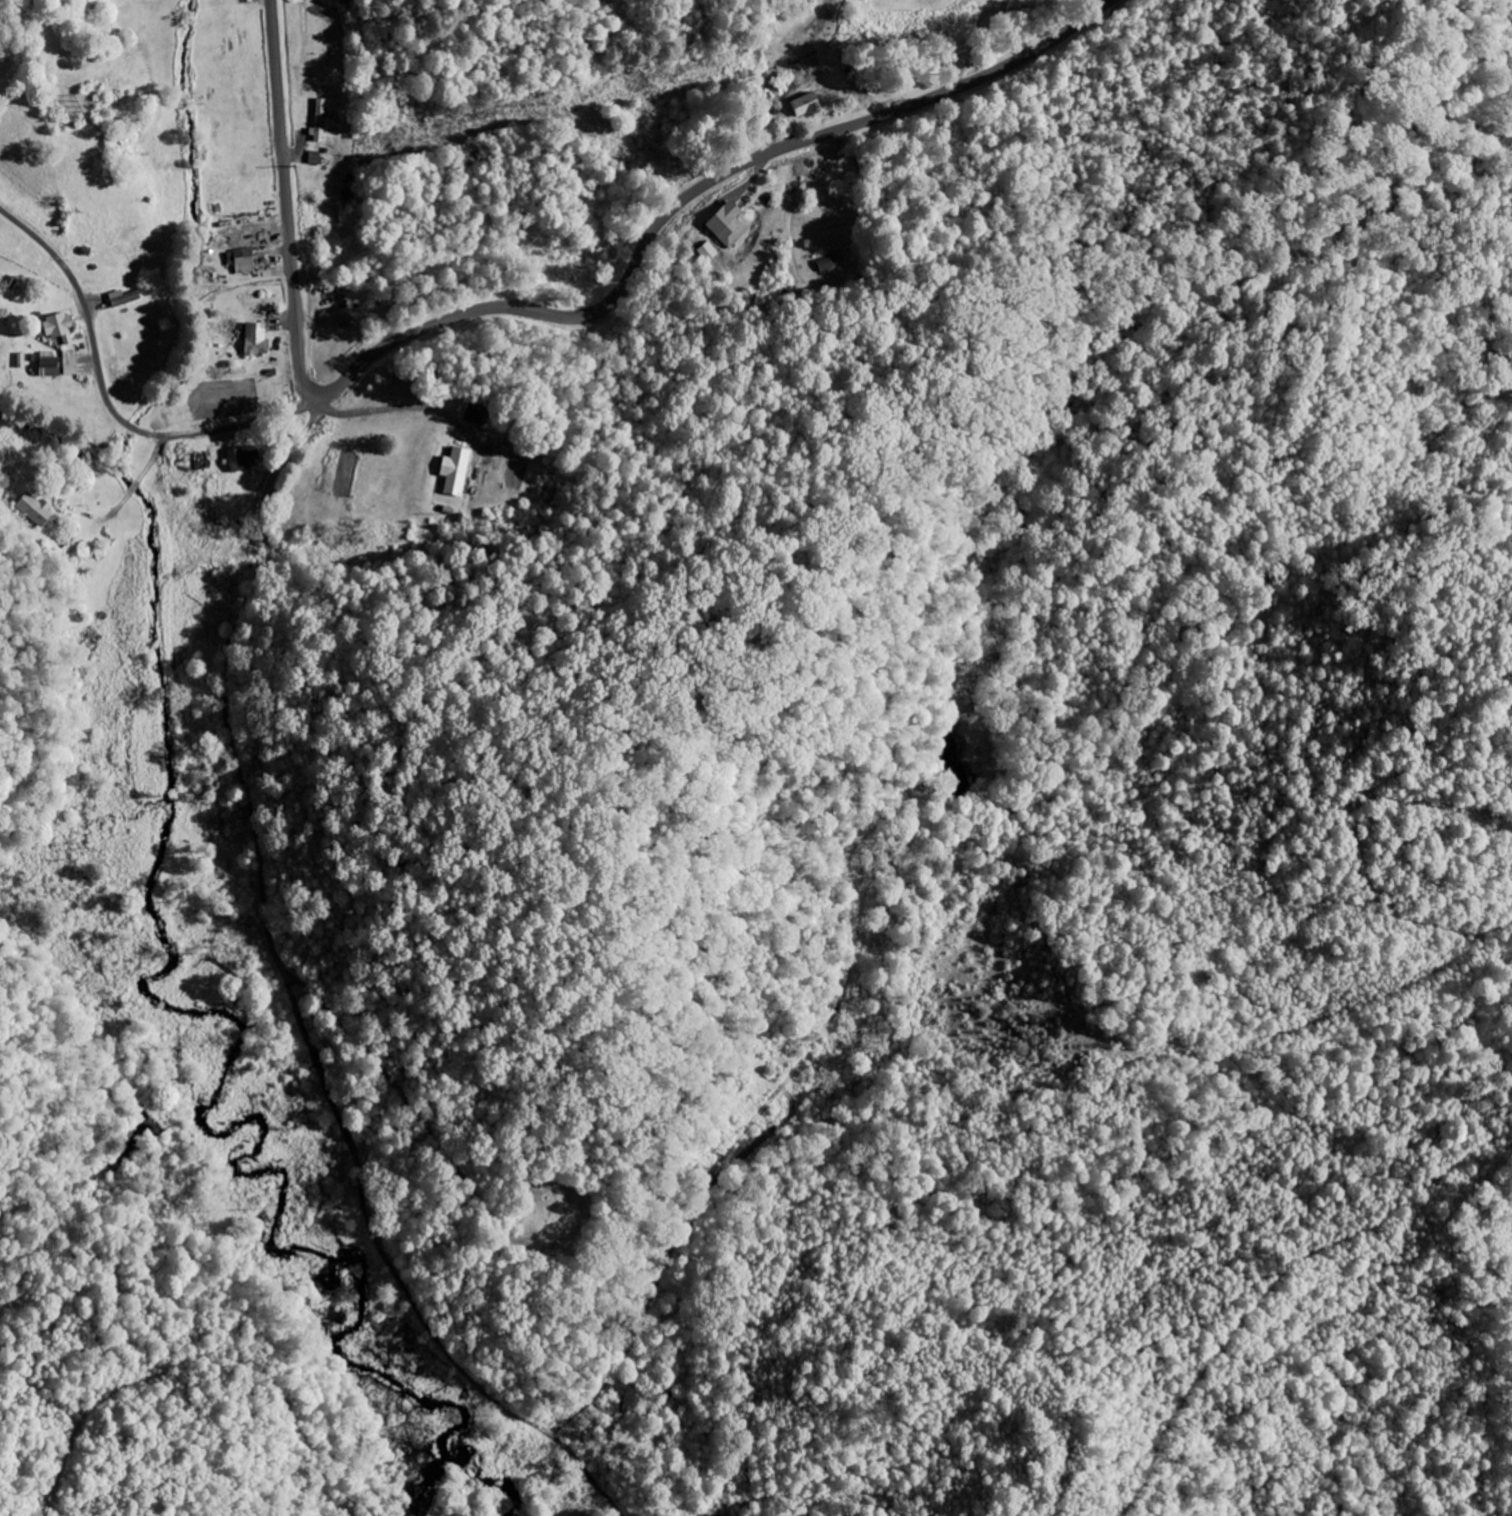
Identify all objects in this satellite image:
road: (978, 48)
building: (803, 106)
building: (319, 119)
building: (726, 224)
building: (242, 261)
road: (555, 315)
building: (51, 325)
building: (258, 337)
road: (108, 405)
road: (393, 411)
building: (471, 412)
building: (240, 459)
building: (452, 469)
building: (31, 508)
road: (292, 999)

